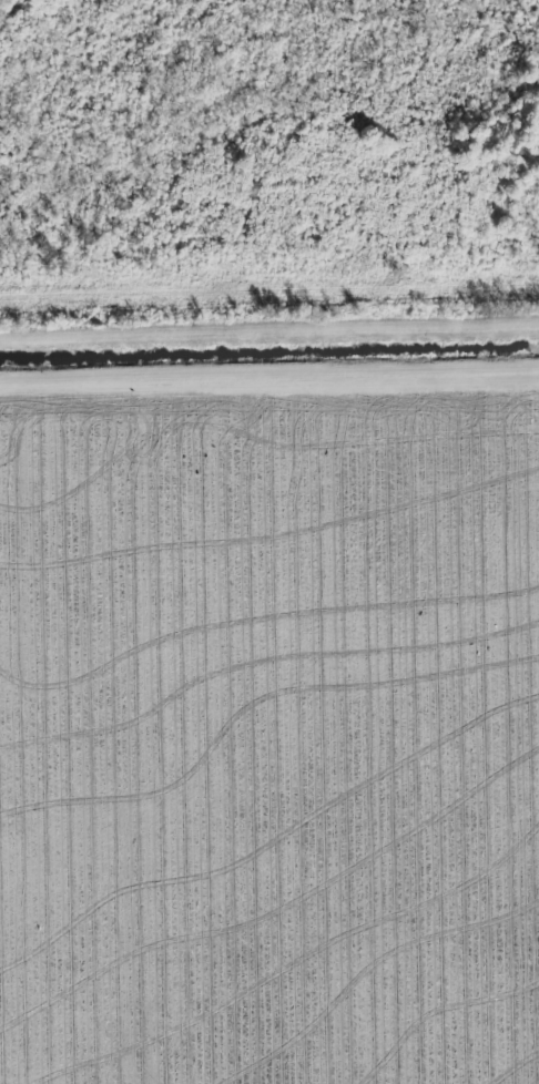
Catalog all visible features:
road: (269, 339)
road: (269, 381)

